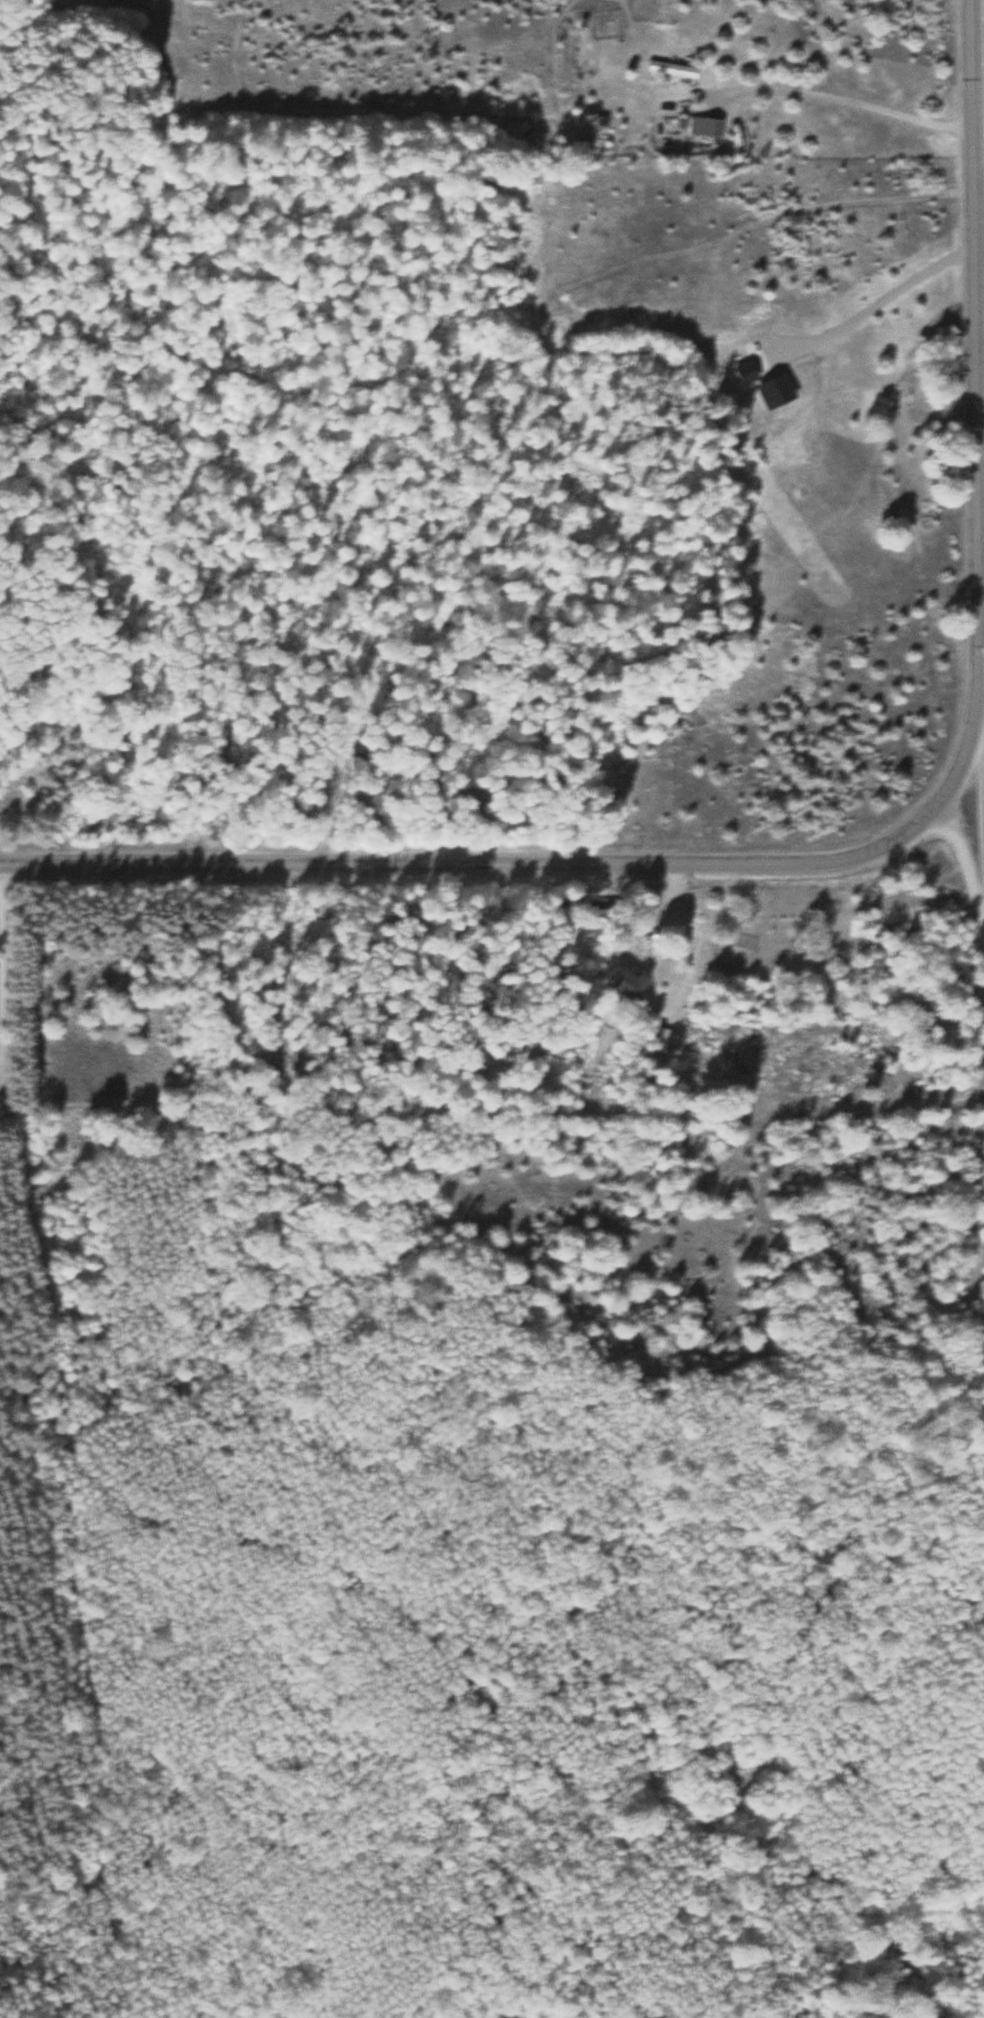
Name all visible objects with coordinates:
building: (669, 68)
road: (828, 95)
road: (716, 99)
building: (703, 126)
road: (969, 406)
road: (975, 736)
road: (475, 860)
road: (671, 891)
road: (976, 904)
road: (4, 976)
building: (626, 985)
road: (829, 1104)
road: (970, 1235)
road: (46, 1270)

